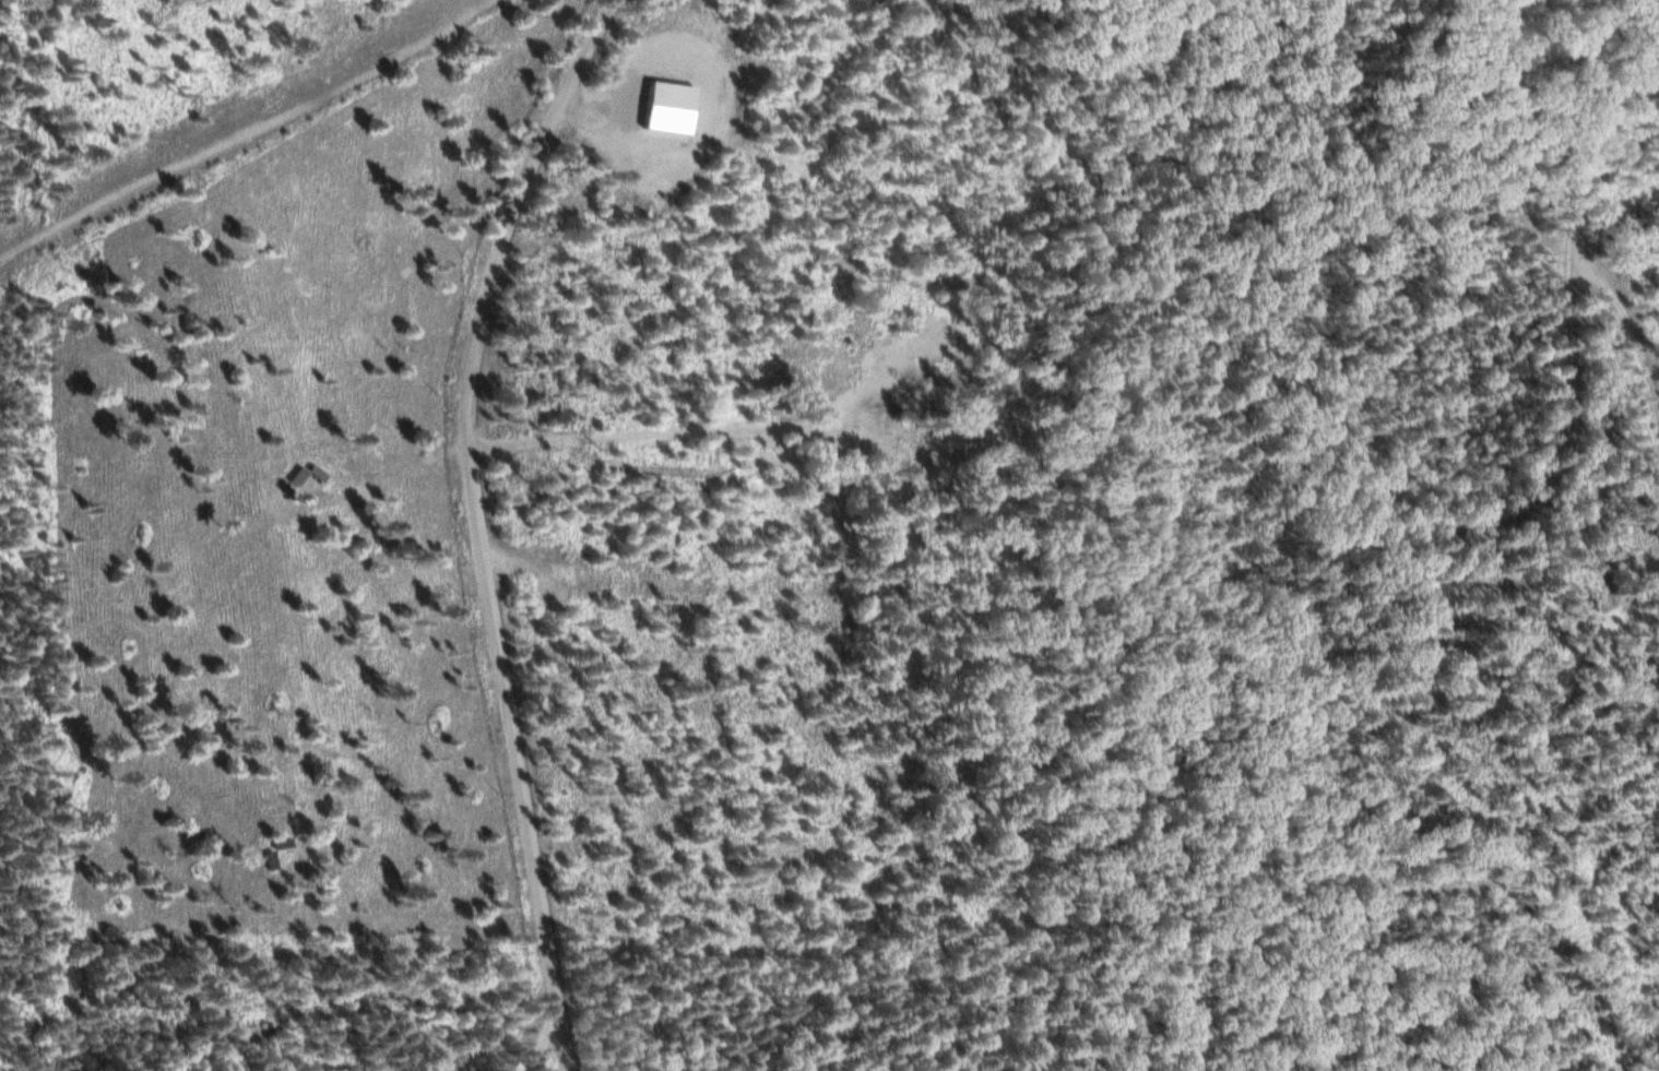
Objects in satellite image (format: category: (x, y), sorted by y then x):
road: (1515, 139)
road: (1632, 338)
road: (1348, 469)
road: (482, 524)
road: (542, 1043)

